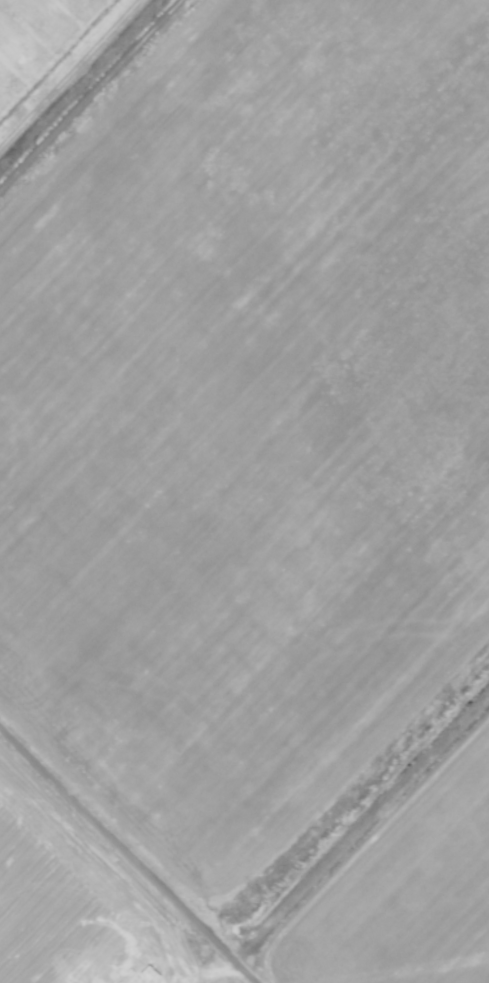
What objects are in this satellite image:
road: (84, 92)
road: (130, 853)

